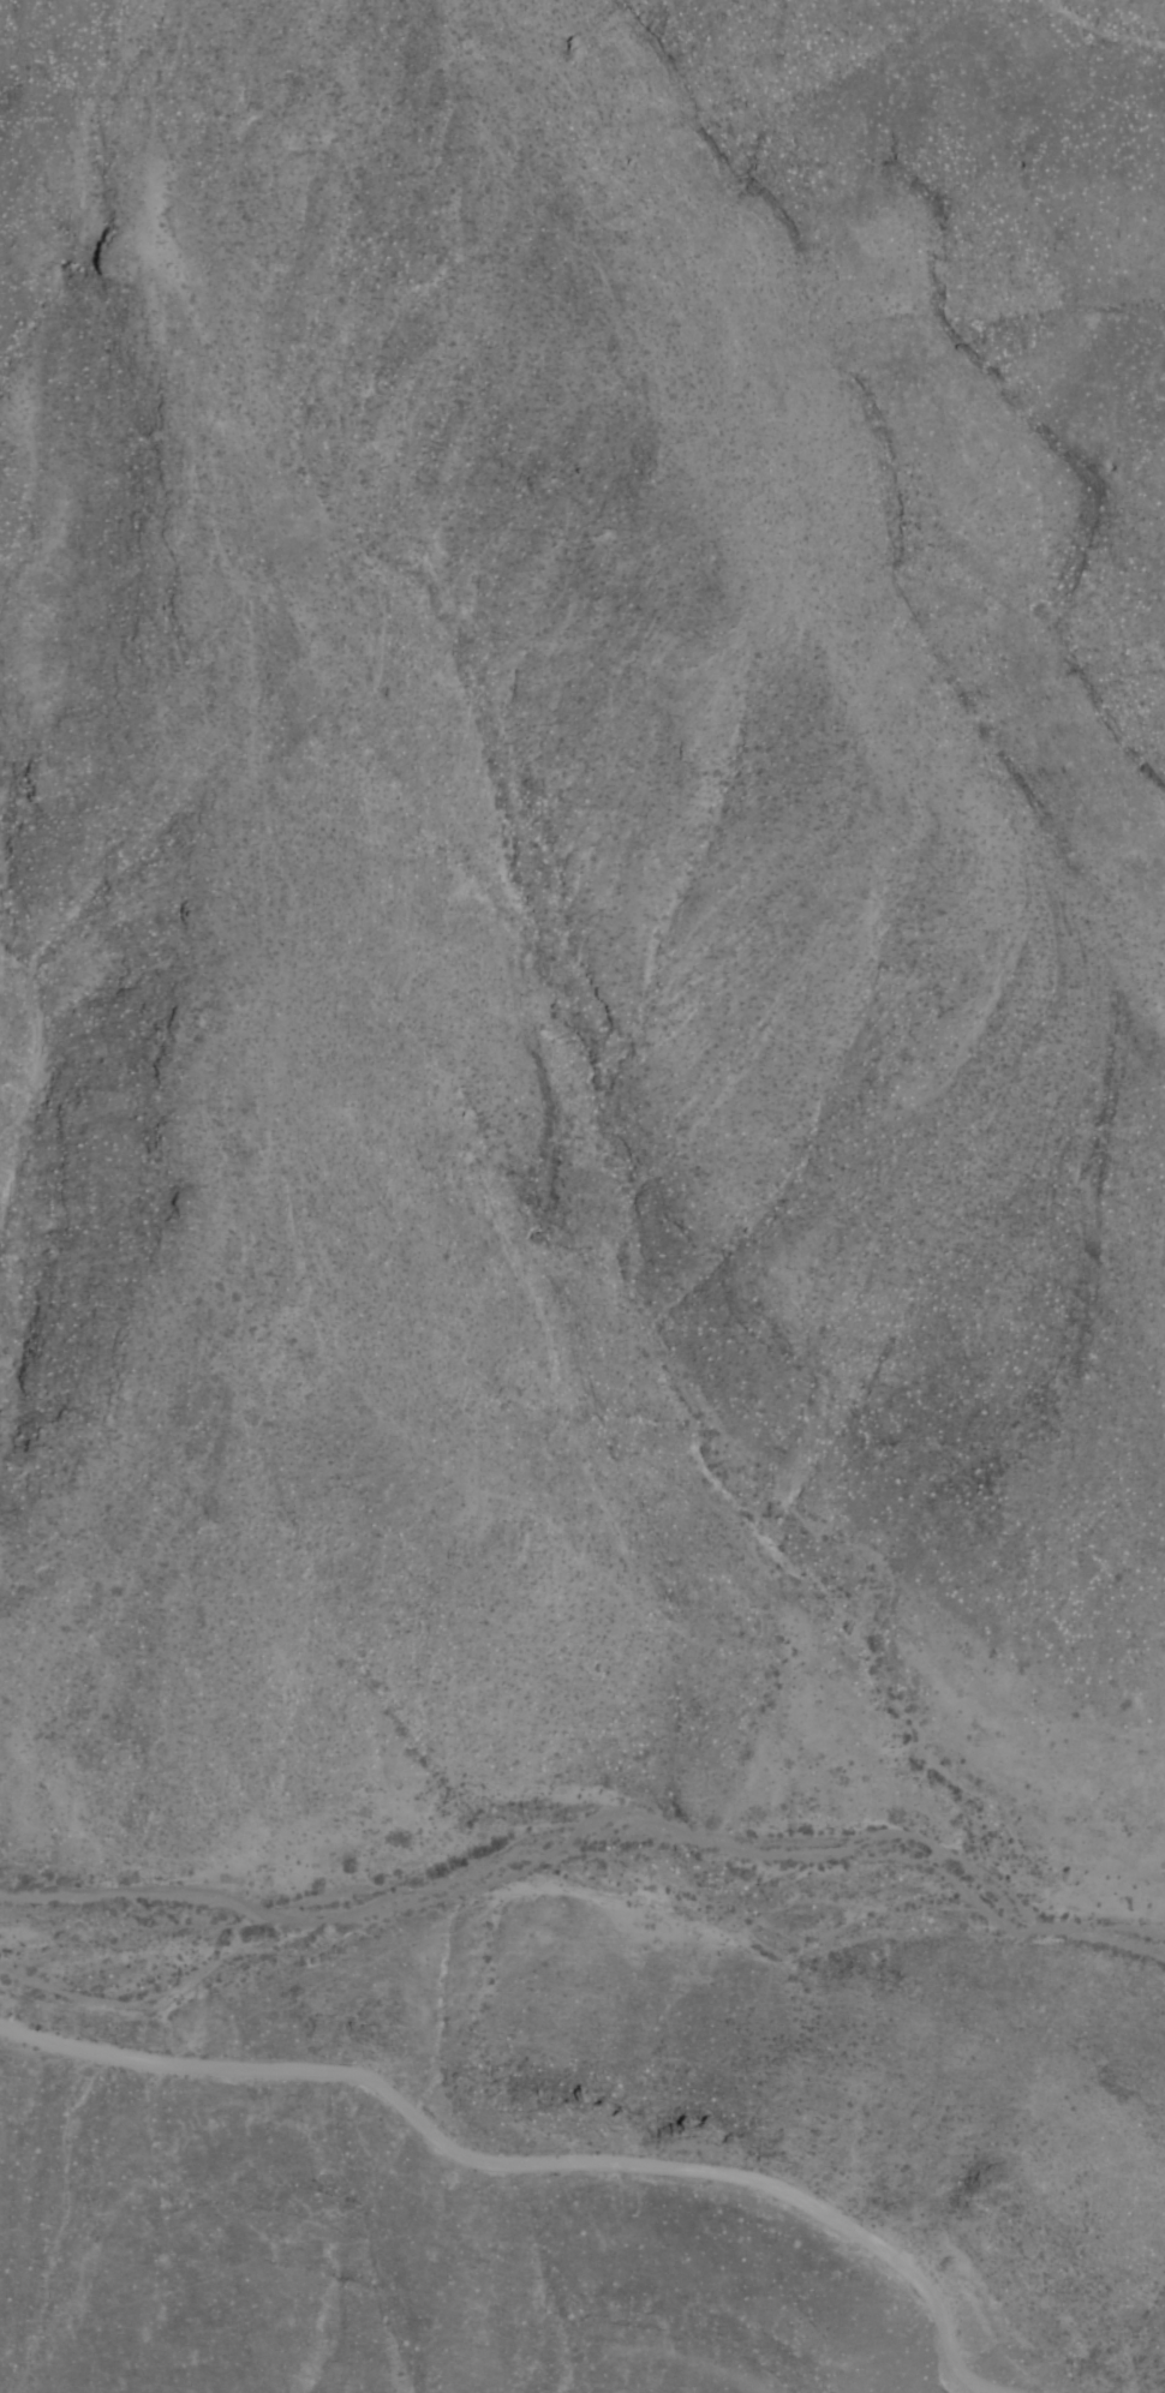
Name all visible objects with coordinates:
road: (520, 2166)

